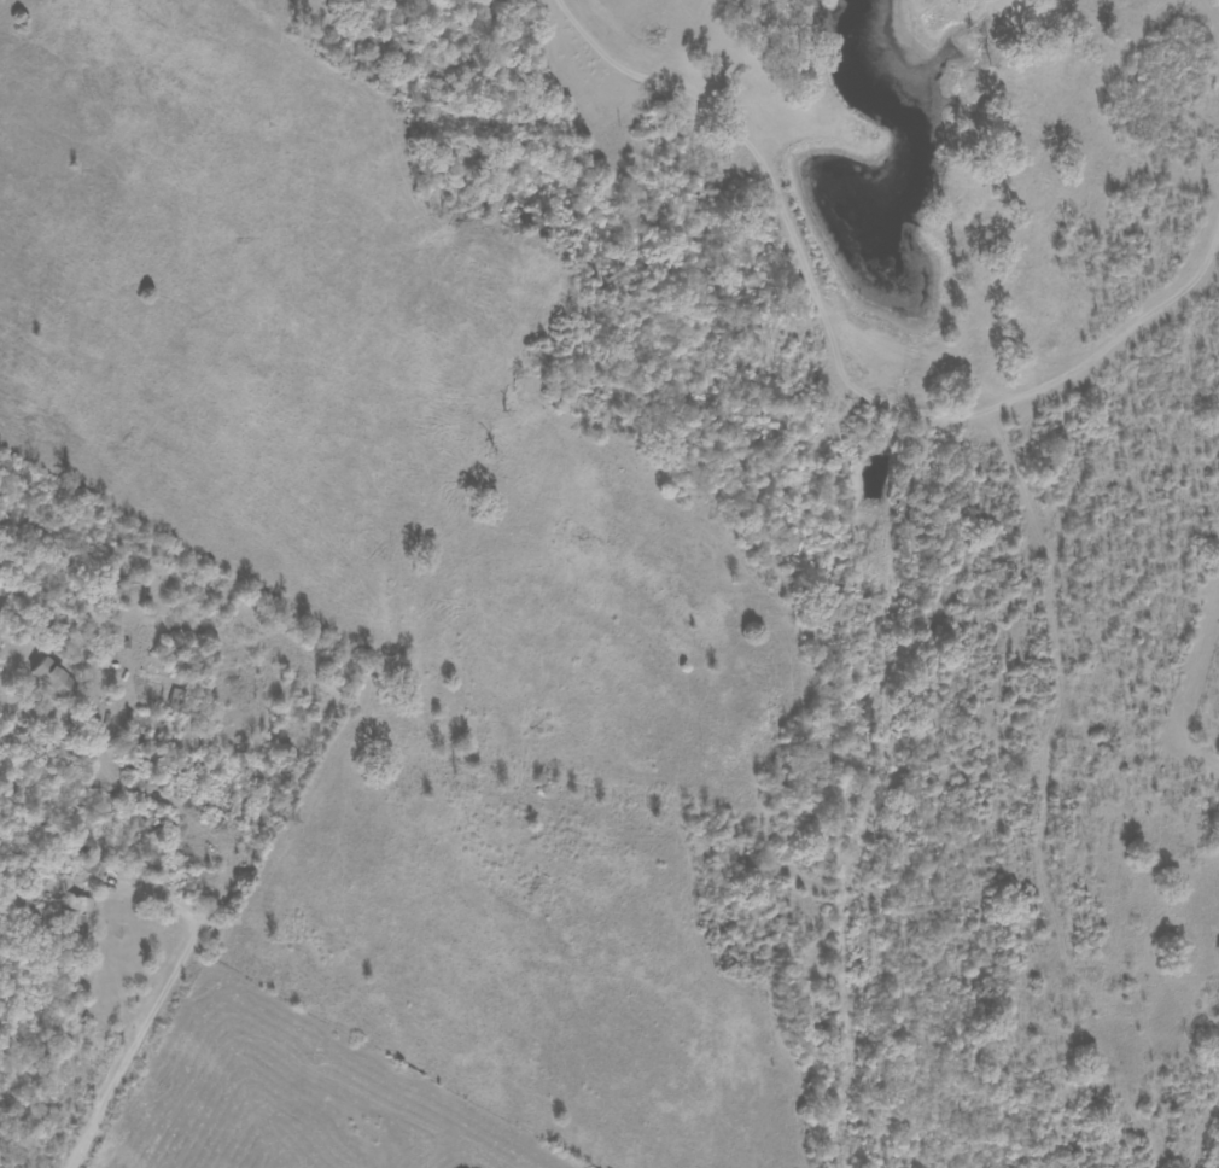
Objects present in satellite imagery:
road: (813, 399)
building: (52, 678)
road: (196, 830)
building: (80, 907)
road: (103, 1100)

